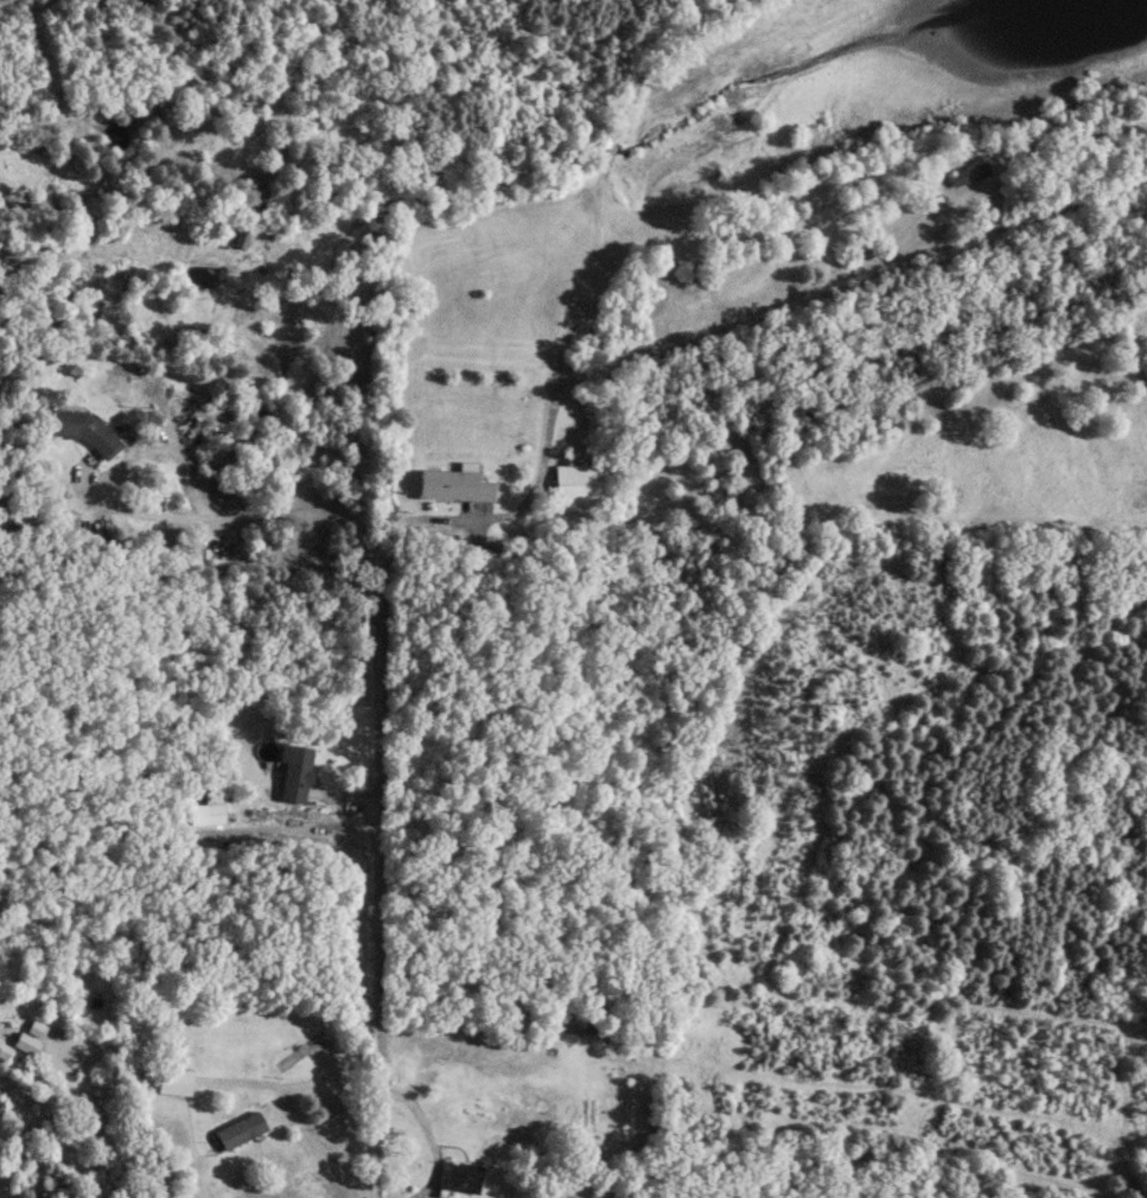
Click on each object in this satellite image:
building: (968, 176)
building: (240, 240)
road: (848, 274)
road: (189, 479)
building: (451, 483)
building: (571, 484)
road: (376, 528)
building: (293, 772)
building: (211, 813)
building: (24, 1043)
building: (4, 1049)
building: (168, 1079)
road: (42, 1111)
road: (289, 1114)
building: (235, 1128)
building: (455, 1179)

